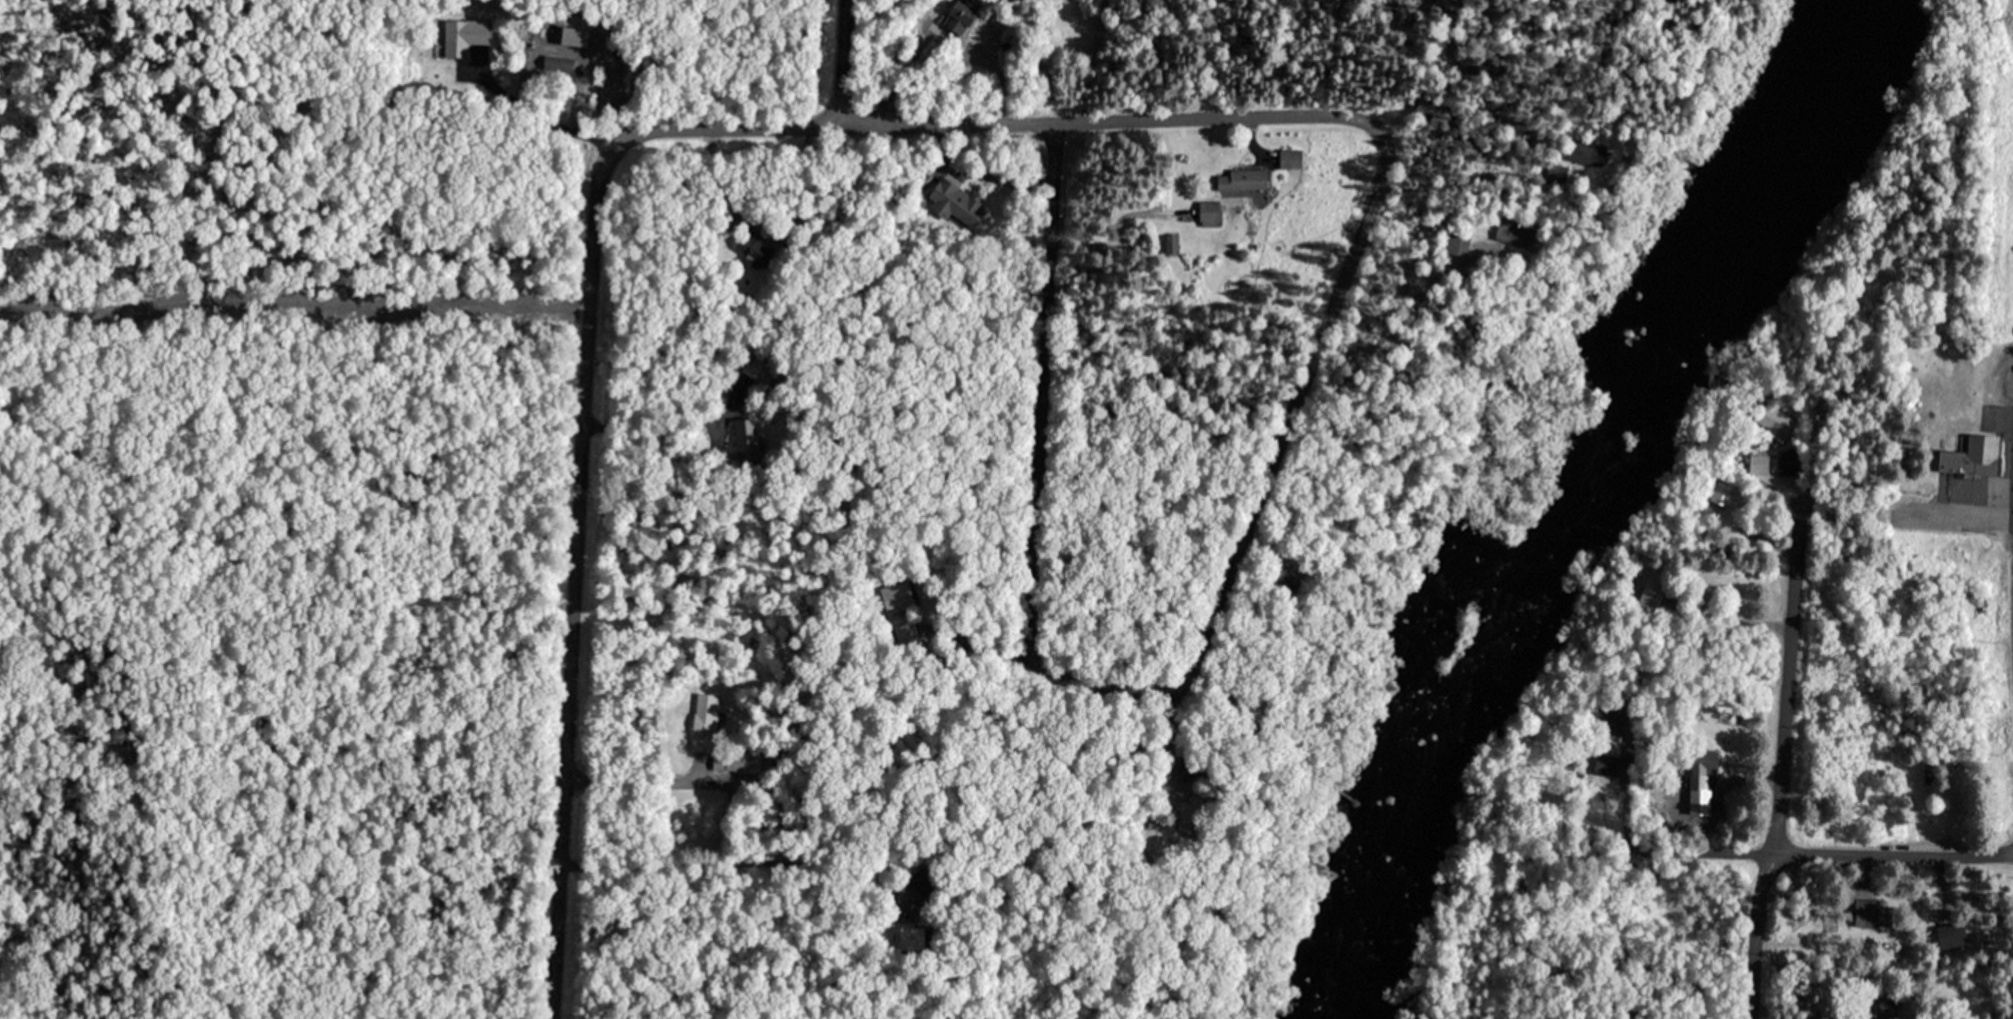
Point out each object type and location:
building: (1011, 1)
building: (962, 15)
building: (460, 35)
road: (943, 47)
road: (832, 61)
building: (557, 63)
road: (1420, 72)
road: (541, 115)
road: (970, 121)
building: (1236, 179)
building: (953, 201)
building: (1509, 230)
building: (751, 245)
road: (1034, 397)
building: (1971, 454)
building: (1787, 464)
road: (1263, 477)
building: (1720, 490)
river: (1590, 509)
road: (1952, 513)
building: (1655, 584)
road: (574, 596)
building: (894, 596)
building: (903, 631)
road: (975, 644)
road: (1595, 665)
road: (1778, 680)
building: (705, 721)
building: (1607, 768)
building: (1701, 768)
road: (636, 781)
road: (1662, 847)
road: (1889, 850)
road: (1607, 882)
road: (1665, 890)
building: (1873, 913)
road: (1747, 933)
building: (1951, 934)

